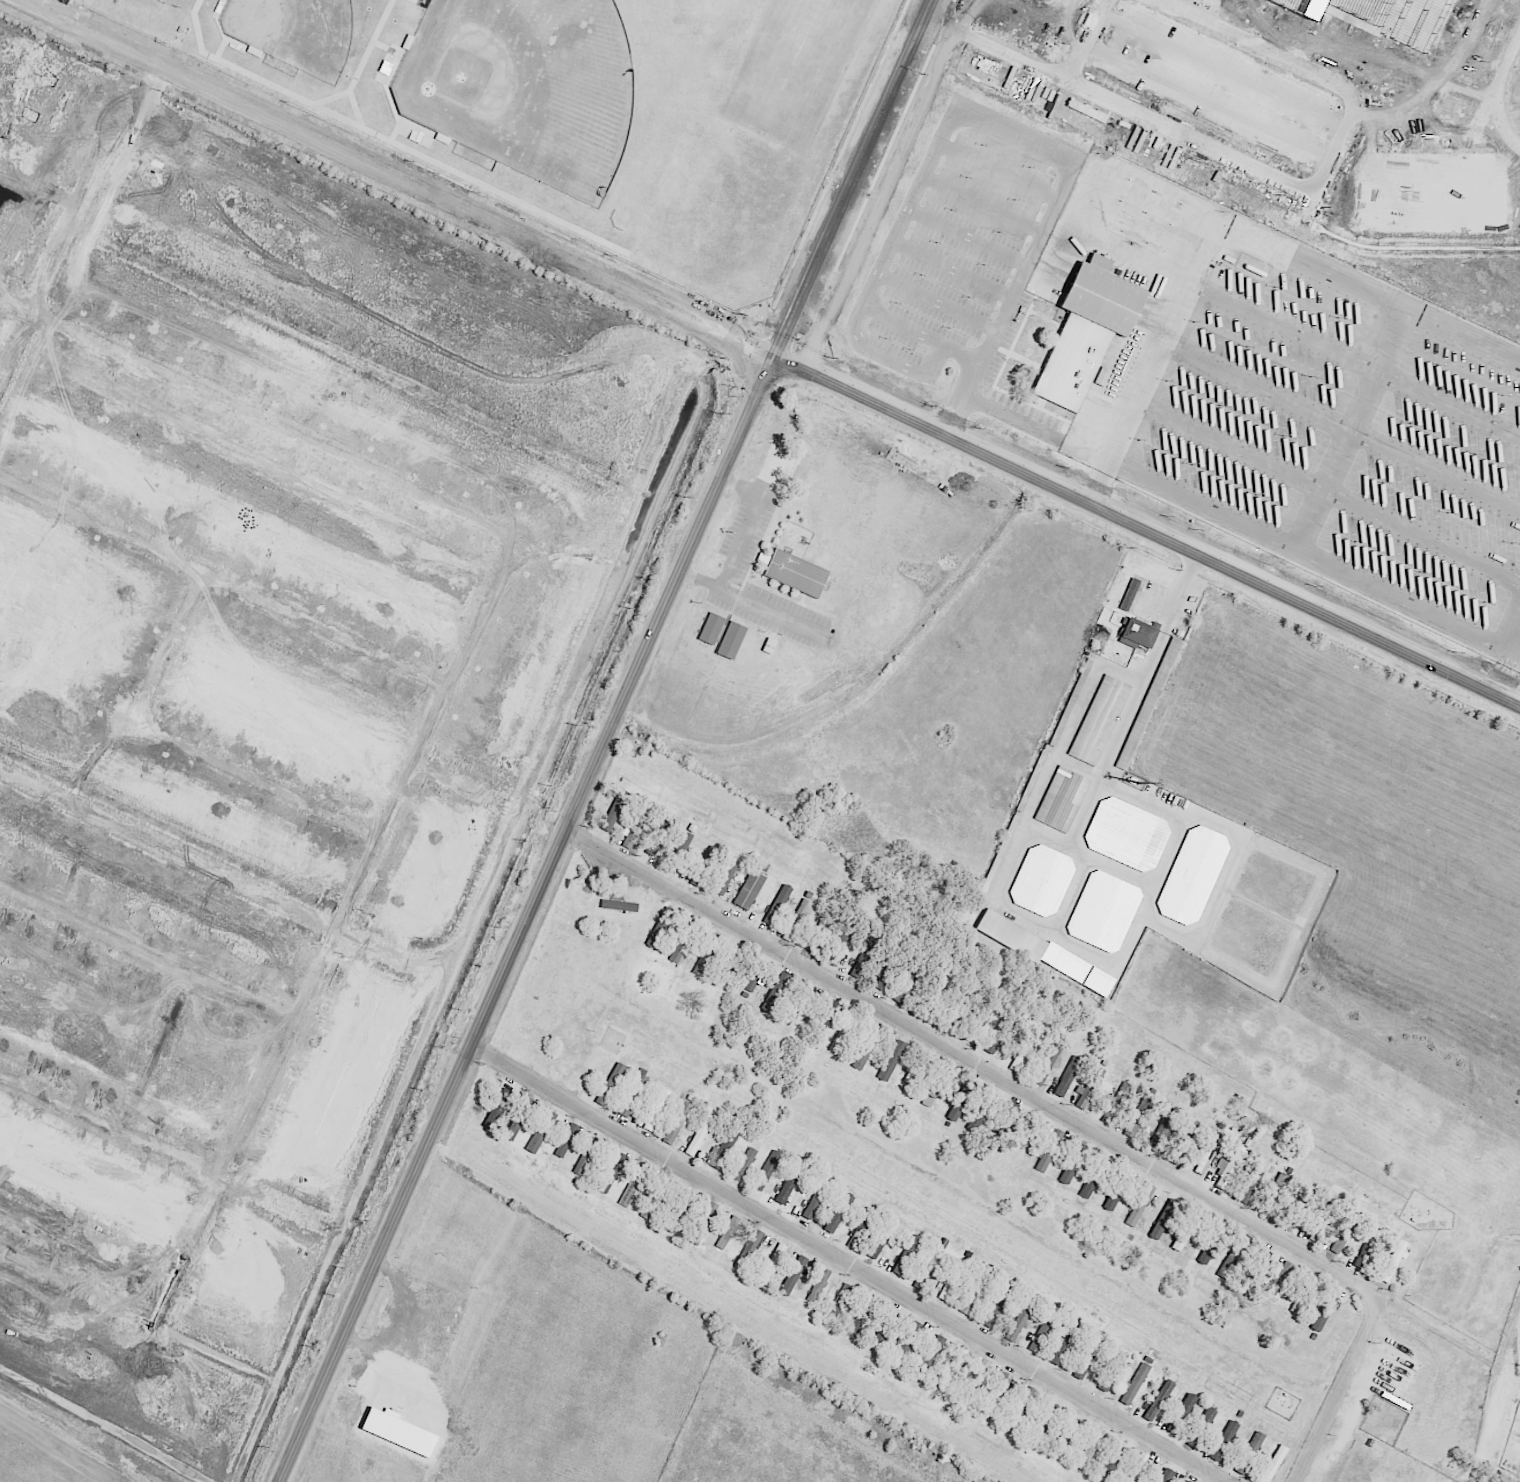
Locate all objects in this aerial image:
road: (65, 9)
park: (295, 34)
park: (527, 87)
road: (952, 120)
road: (74, 217)
building: (1086, 332)
road: (770, 355)
traffic signals: (774, 357)
road: (261, 417)
road: (1016, 418)
road: (1375, 438)
road: (1098, 482)
road: (740, 541)
road: (1309, 557)
building: (796, 575)
road: (225, 584)
building: (1129, 595)
road: (760, 606)
building: (711, 629)
building: (1137, 634)
building: (730, 641)
road: (1516, 644)
road: (166, 646)
road: (1502, 674)
building: (1148, 704)
building: (1099, 720)
road: (605, 740)
road: (1107, 750)
road: (257, 779)
building: (1034, 779)
road: (492, 796)
building: (1062, 800)
building: (613, 811)
building: (636, 825)
building: (658, 834)
building: (677, 852)
building: (706, 862)
building: (1192, 876)
building: (725, 878)
building: (1041, 881)
building: (749, 890)
building: (618, 906)
building: (776, 907)
building: (795, 918)
building: (660, 928)
road: (337, 935)
building: (817, 936)
building: (1011, 936)
building: (683, 941)
building: (839, 948)
building: (706, 954)
road: (146, 958)
building: (882, 979)
building: (750, 983)
building: (775, 992)
building: (933, 995)
building: (799, 1002)
building: (951, 1012)
building: (851, 1043)
building: (990, 1043)
building: (1023, 1051)
building: (914, 1075)
building: (1068, 1076)
building: (610, 1084)
building: (935, 1086)
building: (1089, 1088)
building: (630, 1099)
building: (1117, 1103)
building: (656, 1109)
building: (955, 1109)
road: (1064, 1114)
building: (1139, 1117)
building: (975, 1120)
building: (1001, 1122)
building: (677, 1123)
building: (1162, 1129)
building: (539, 1131)
building: (1029, 1132)
building: (699, 1135)
building: (1183, 1143)
building: (563, 1145)
building: (1207, 1150)
road: (192, 1156)
building: (585, 1156)
building: (744, 1164)
building: (1072, 1165)
building: (1227, 1168)
building: (766, 1171)
building: (610, 1174)
building: (1093, 1177)
building: (632, 1186)
building: (789, 1189)
building: (1115, 1194)
building: (1270, 1196)
building: (651, 1201)
building: (1139, 1206)
building: (1298, 1207)
building: (838, 1212)
building: (1163, 1220)
building: (703, 1223)
building: (1186, 1230)
building: (727, 1232)
building: (1367, 1248)
building: (1209, 1249)
building: (748, 1250)
building: (930, 1263)
building: (772, 1264)
road: (848, 1264)
building: (1227, 1265)
building: (1256, 1269)
building: (792, 1276)
building: (1280, 1278)
building: (950, 1282)
building: (817, 1285)
road: (74, 1292)
building: (974, 1292)
building: (1302, 1295)
building: (841, 1299)
building: (997, 1305)
building: (1323, 1311)
building: (857, 1321)
building: (1019, 1322)
building: (1042, 1334)
building: (879, 1337)
road: (1448, 1340)
building: (904, 1341)
road: (1502, 1354)
building: (929, 1355)
building: (1082, 1368)
building: (952, 1369)
building: (1110, 1370)
building: (976, 1382)
building: (1134, 1383)
building: (1019, 1407)
building: (1183, 1411)
building: (1205, 1421)
building: (1042, 1423)
building: (1067, 1432)
building: (1223, 1441)
building: (1254, 1443)
road: (59, 1446)
building: (1089, 1449)
building: (1110, 1464)
building: (1273, 1464)
building: (1138, 1466)
building: (1164, 1475)
building: (1185, 1481)

